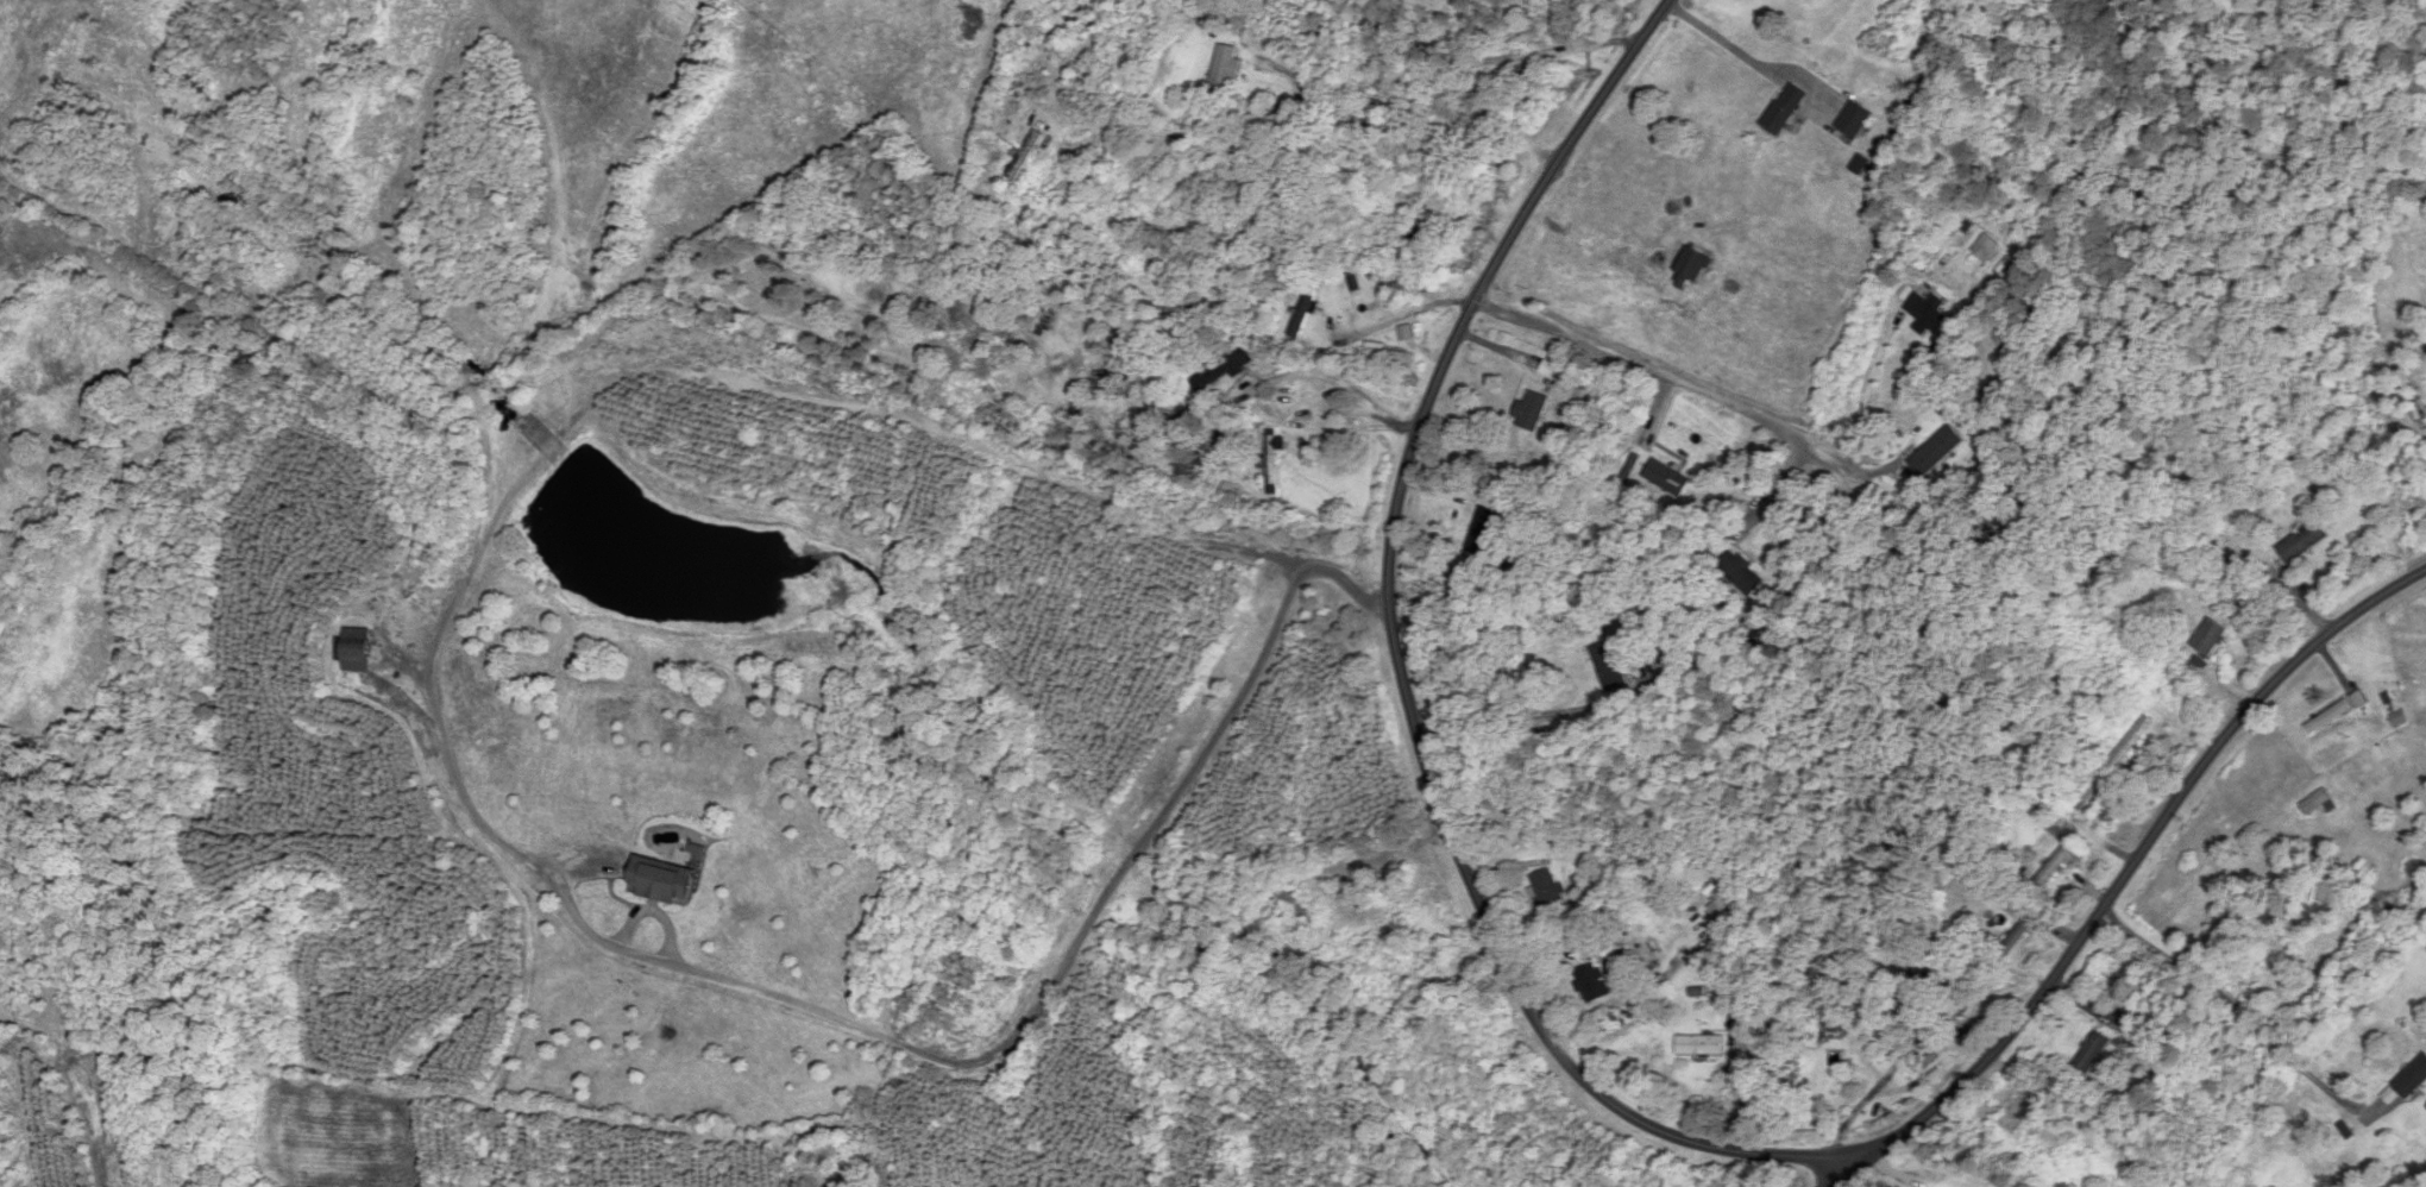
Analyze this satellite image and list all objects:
building: (1809, 0)
road: (1749, 61)
road: (1450, 68)
building: (1225, 70)
building: (1785, 111)
building: (1855, 121)
building: (1026, 157)
building: (1859, 168)
building: (1425, 228)
building: (1407, 290)
building: (1927, 313)
building: (1388, 356)
road: (1268, 381)
road: (1677, 383)
road: (1867, 389)
building: (1531, 412)
building: (1275, 457)
building: (1665, 478)
building: (1482, 532)
building: (2305, 542)
building: (1742, 574)
building: (2211, 638)
building: (357, 651)
building: (1610, 667)
building: (2199, 668)
road: (1404, 687)
road: (1531, 718)
building: (2133, 741)
building: (2315, 803)
building: (2111, 809)
building: (2056, 867)
road: (2130, 875)
building: (662, 883)
building: (1547, 890)
building: (1299, 906)
building: (1727, 913)
building: (2018, 937)
road: (1079, 941)
building: (1592, 985)
road: (1620, 999)
building: (1956, 1000)
building: (1739, 1019)
building: (1701, 1047)
building: (2093, 1053)
building: (2415, 1081)
building: (2019, 1112)

